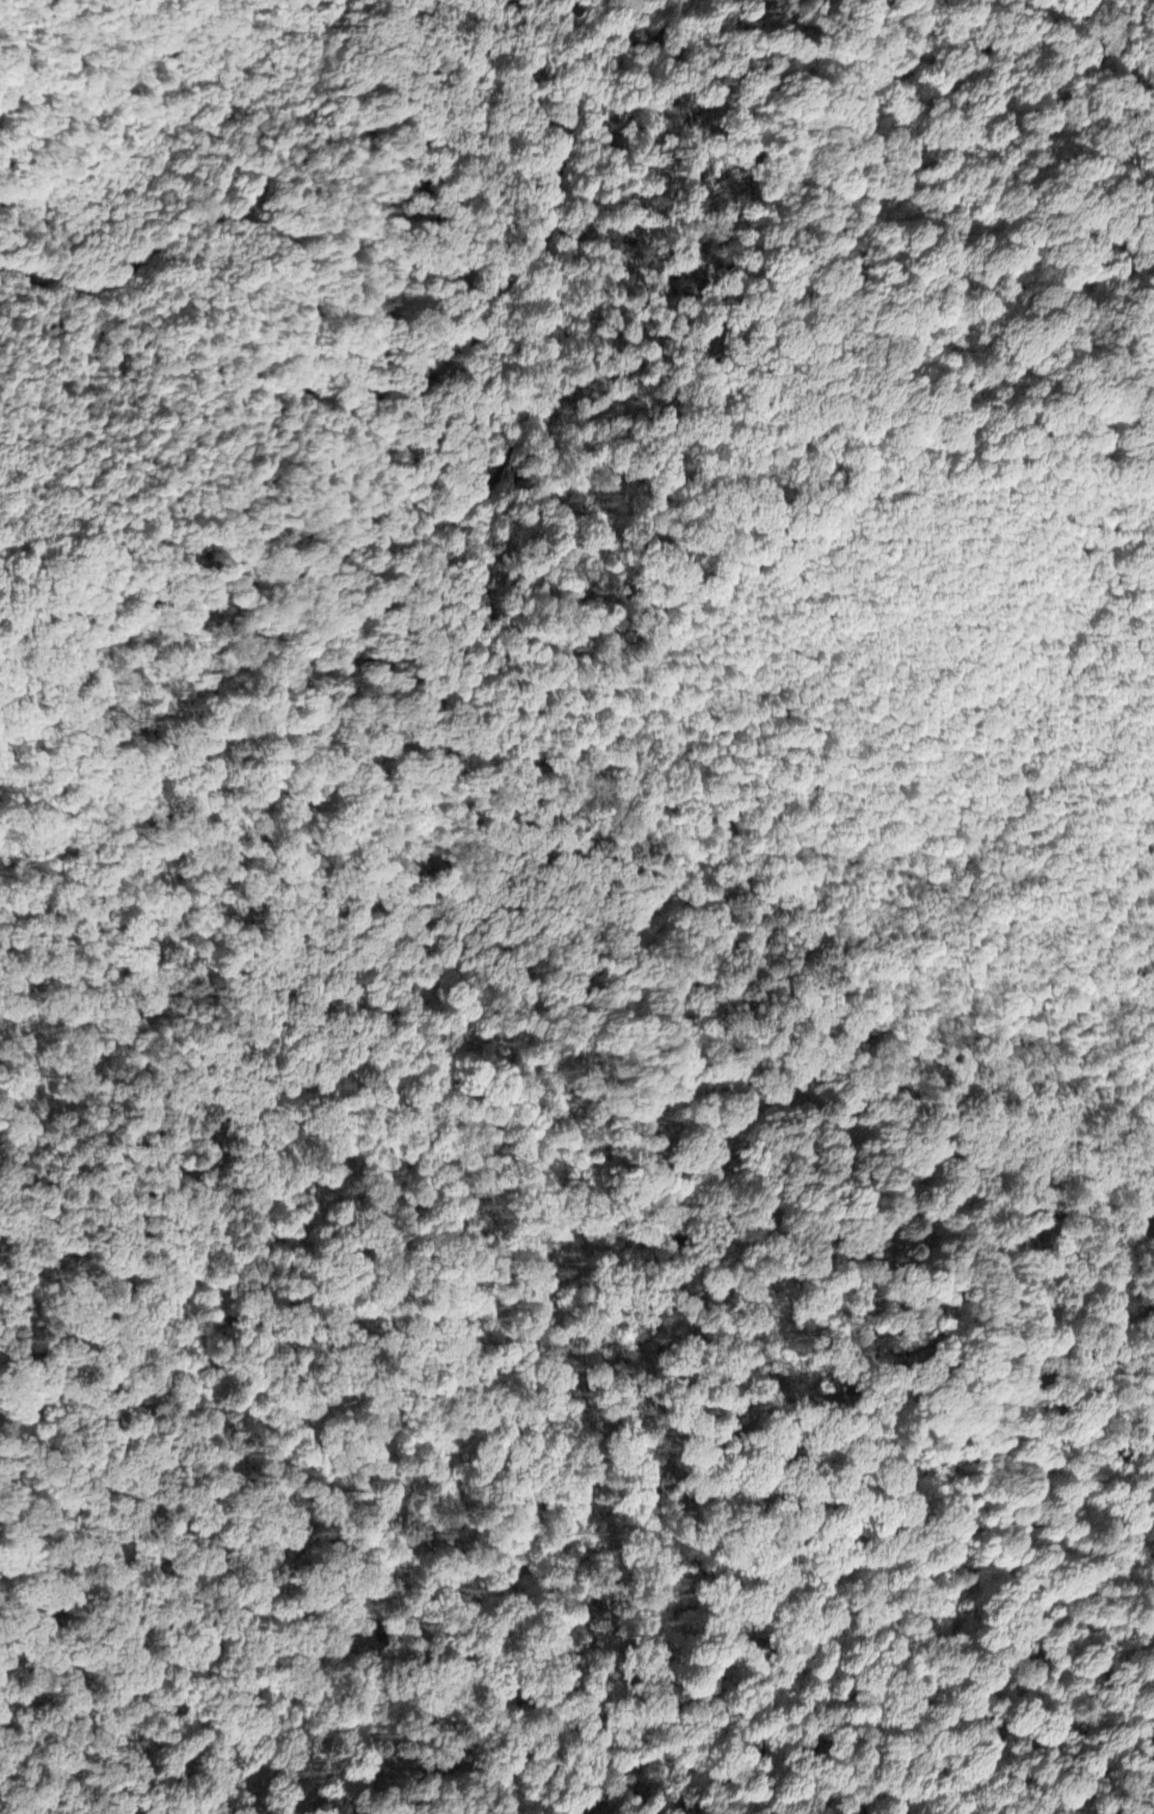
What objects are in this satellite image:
road: (17, 56)
road: (80, 100)
road: (407, 517)

